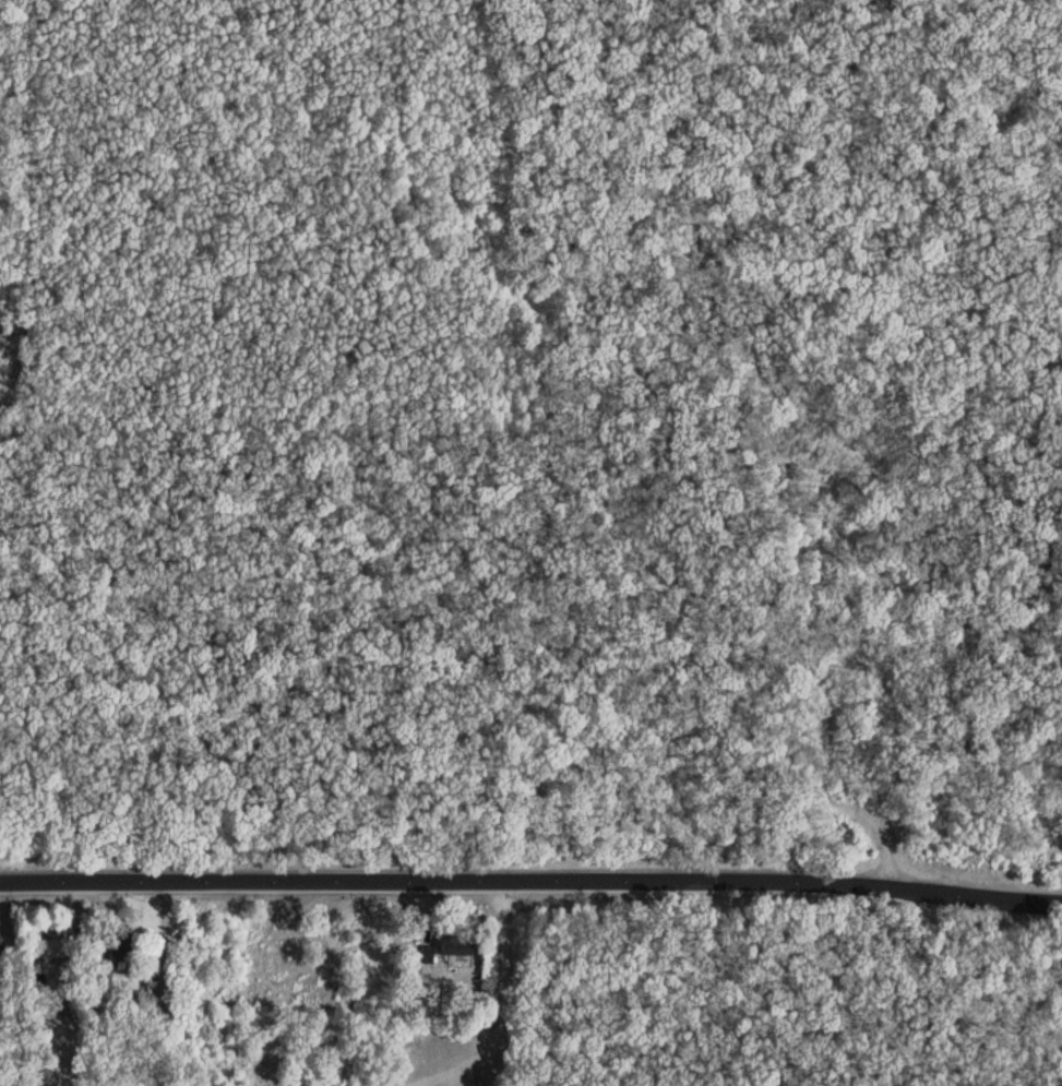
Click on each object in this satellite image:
road: (530, 880)
building: (458, 945)
building: (51, 948)
building: (1, 950)
building: (117, 957)
road: (15, 984)
road: (503, 1022)

